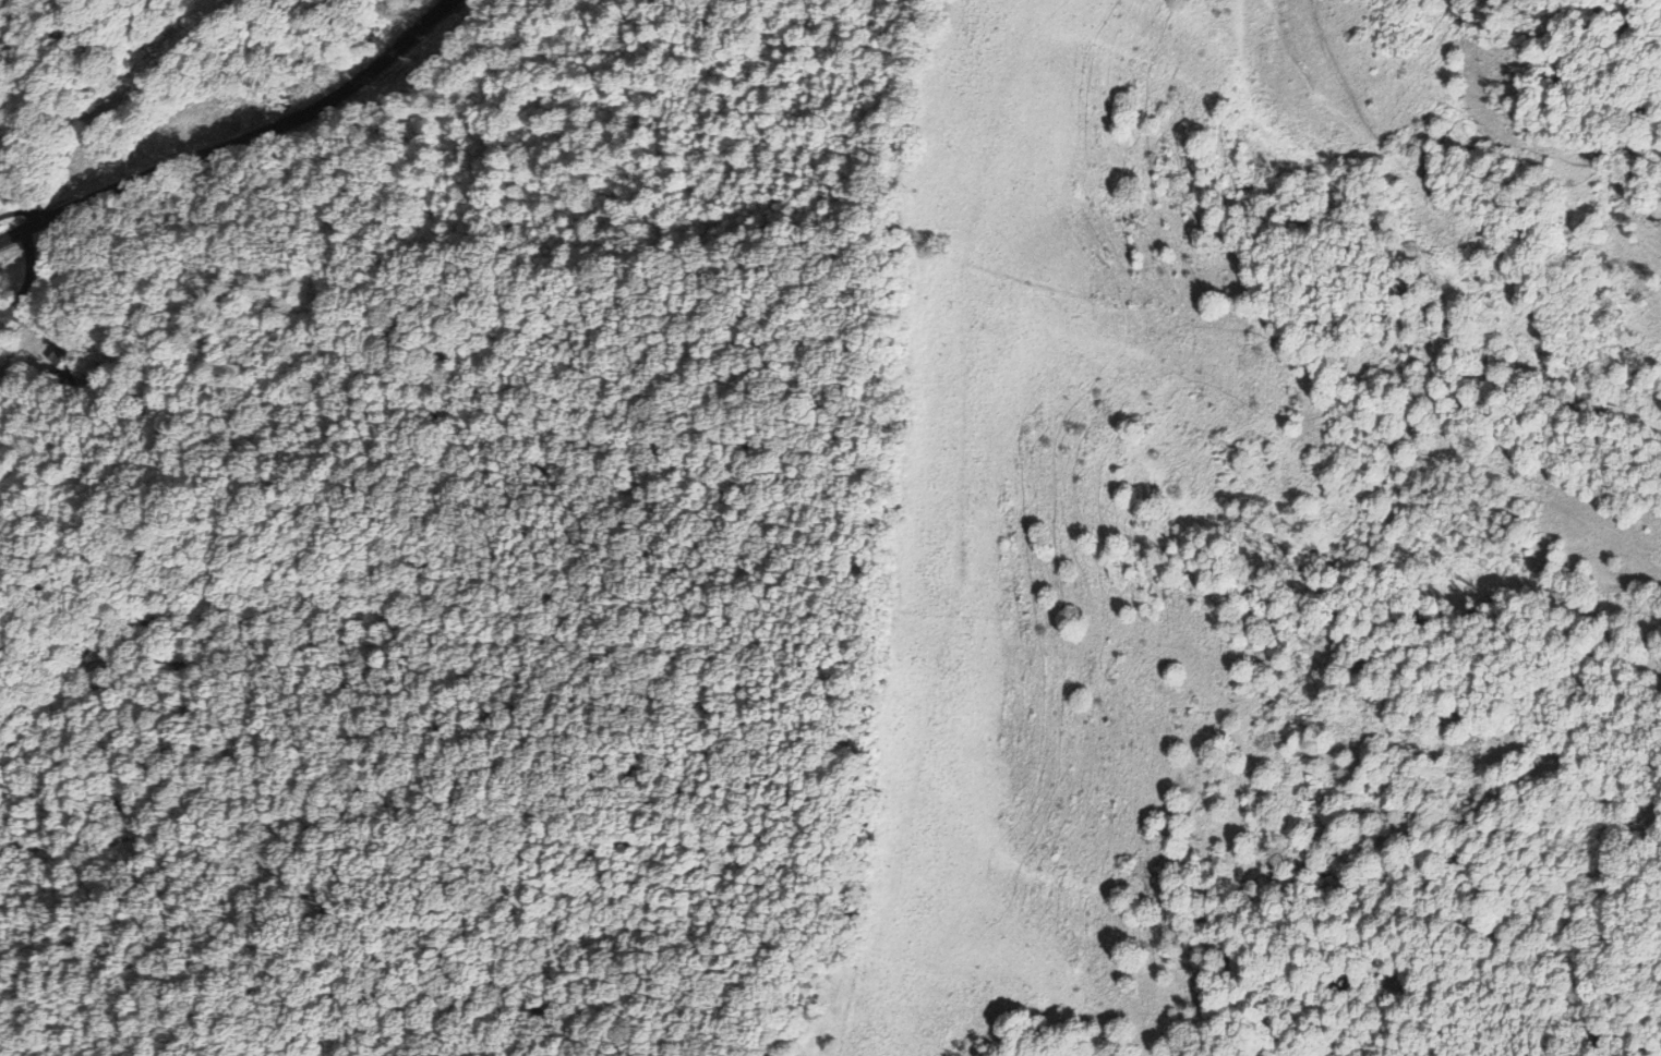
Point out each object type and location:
road: (237, 143)
building: (0, 286)

